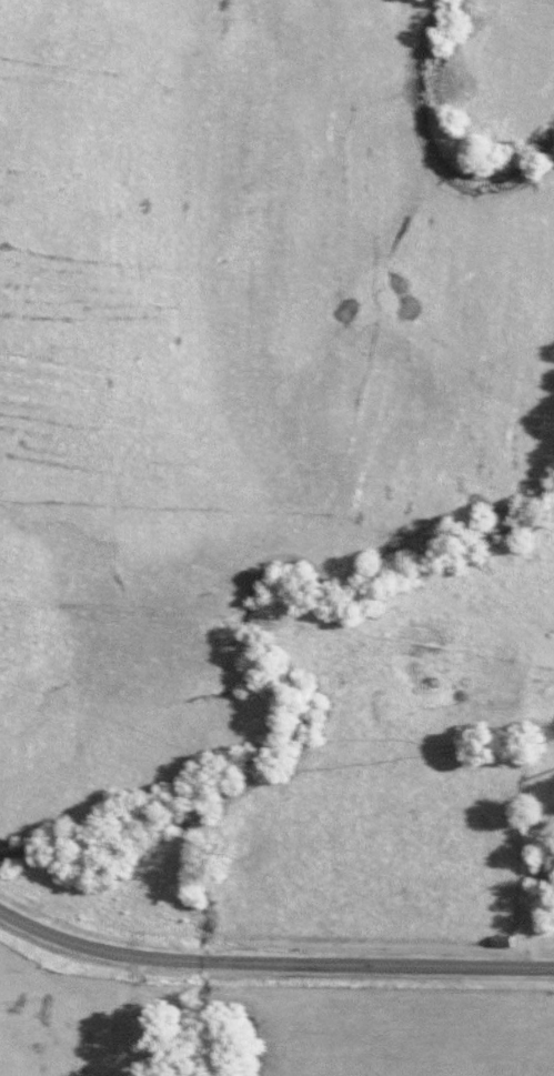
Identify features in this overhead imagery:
building: (544, 867)
building: (498, 941)
road: (272, 962)

